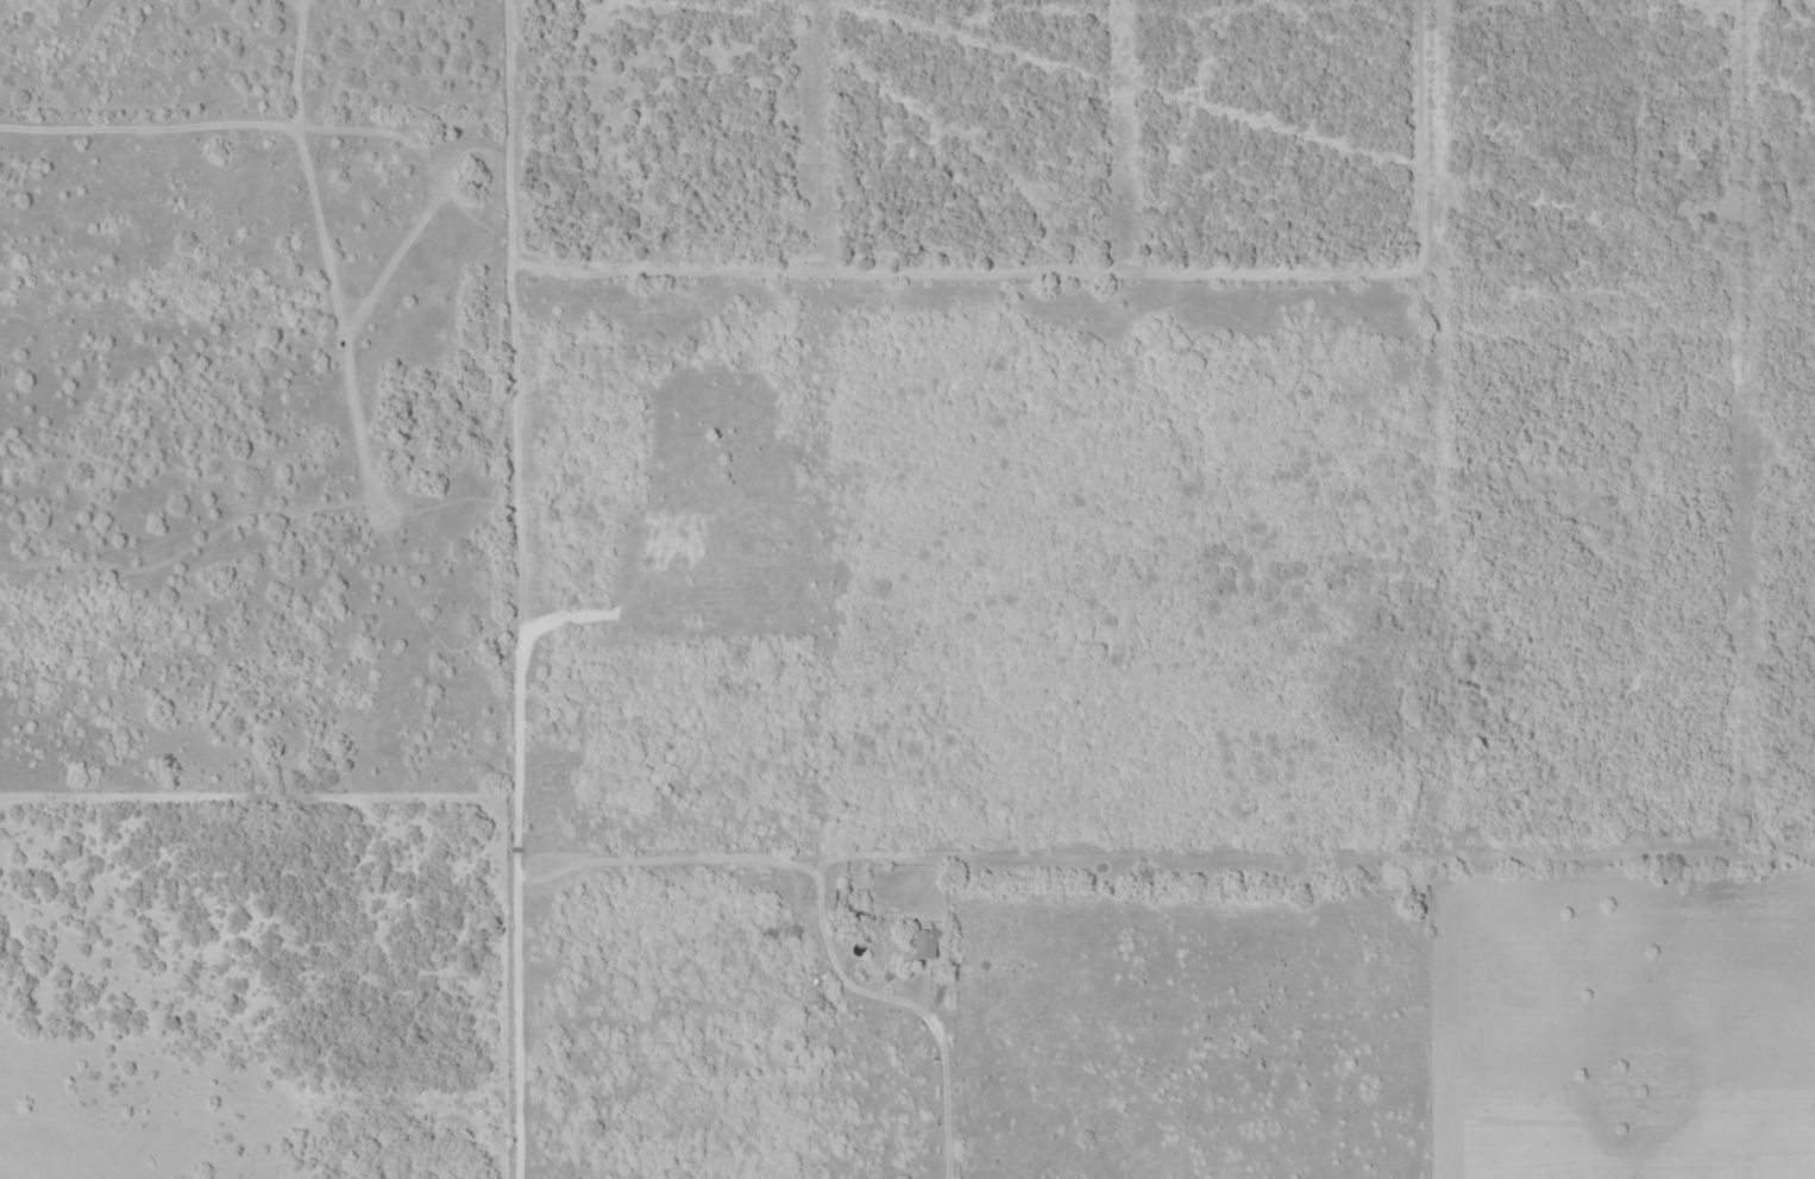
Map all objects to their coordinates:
building: (925, 943)

